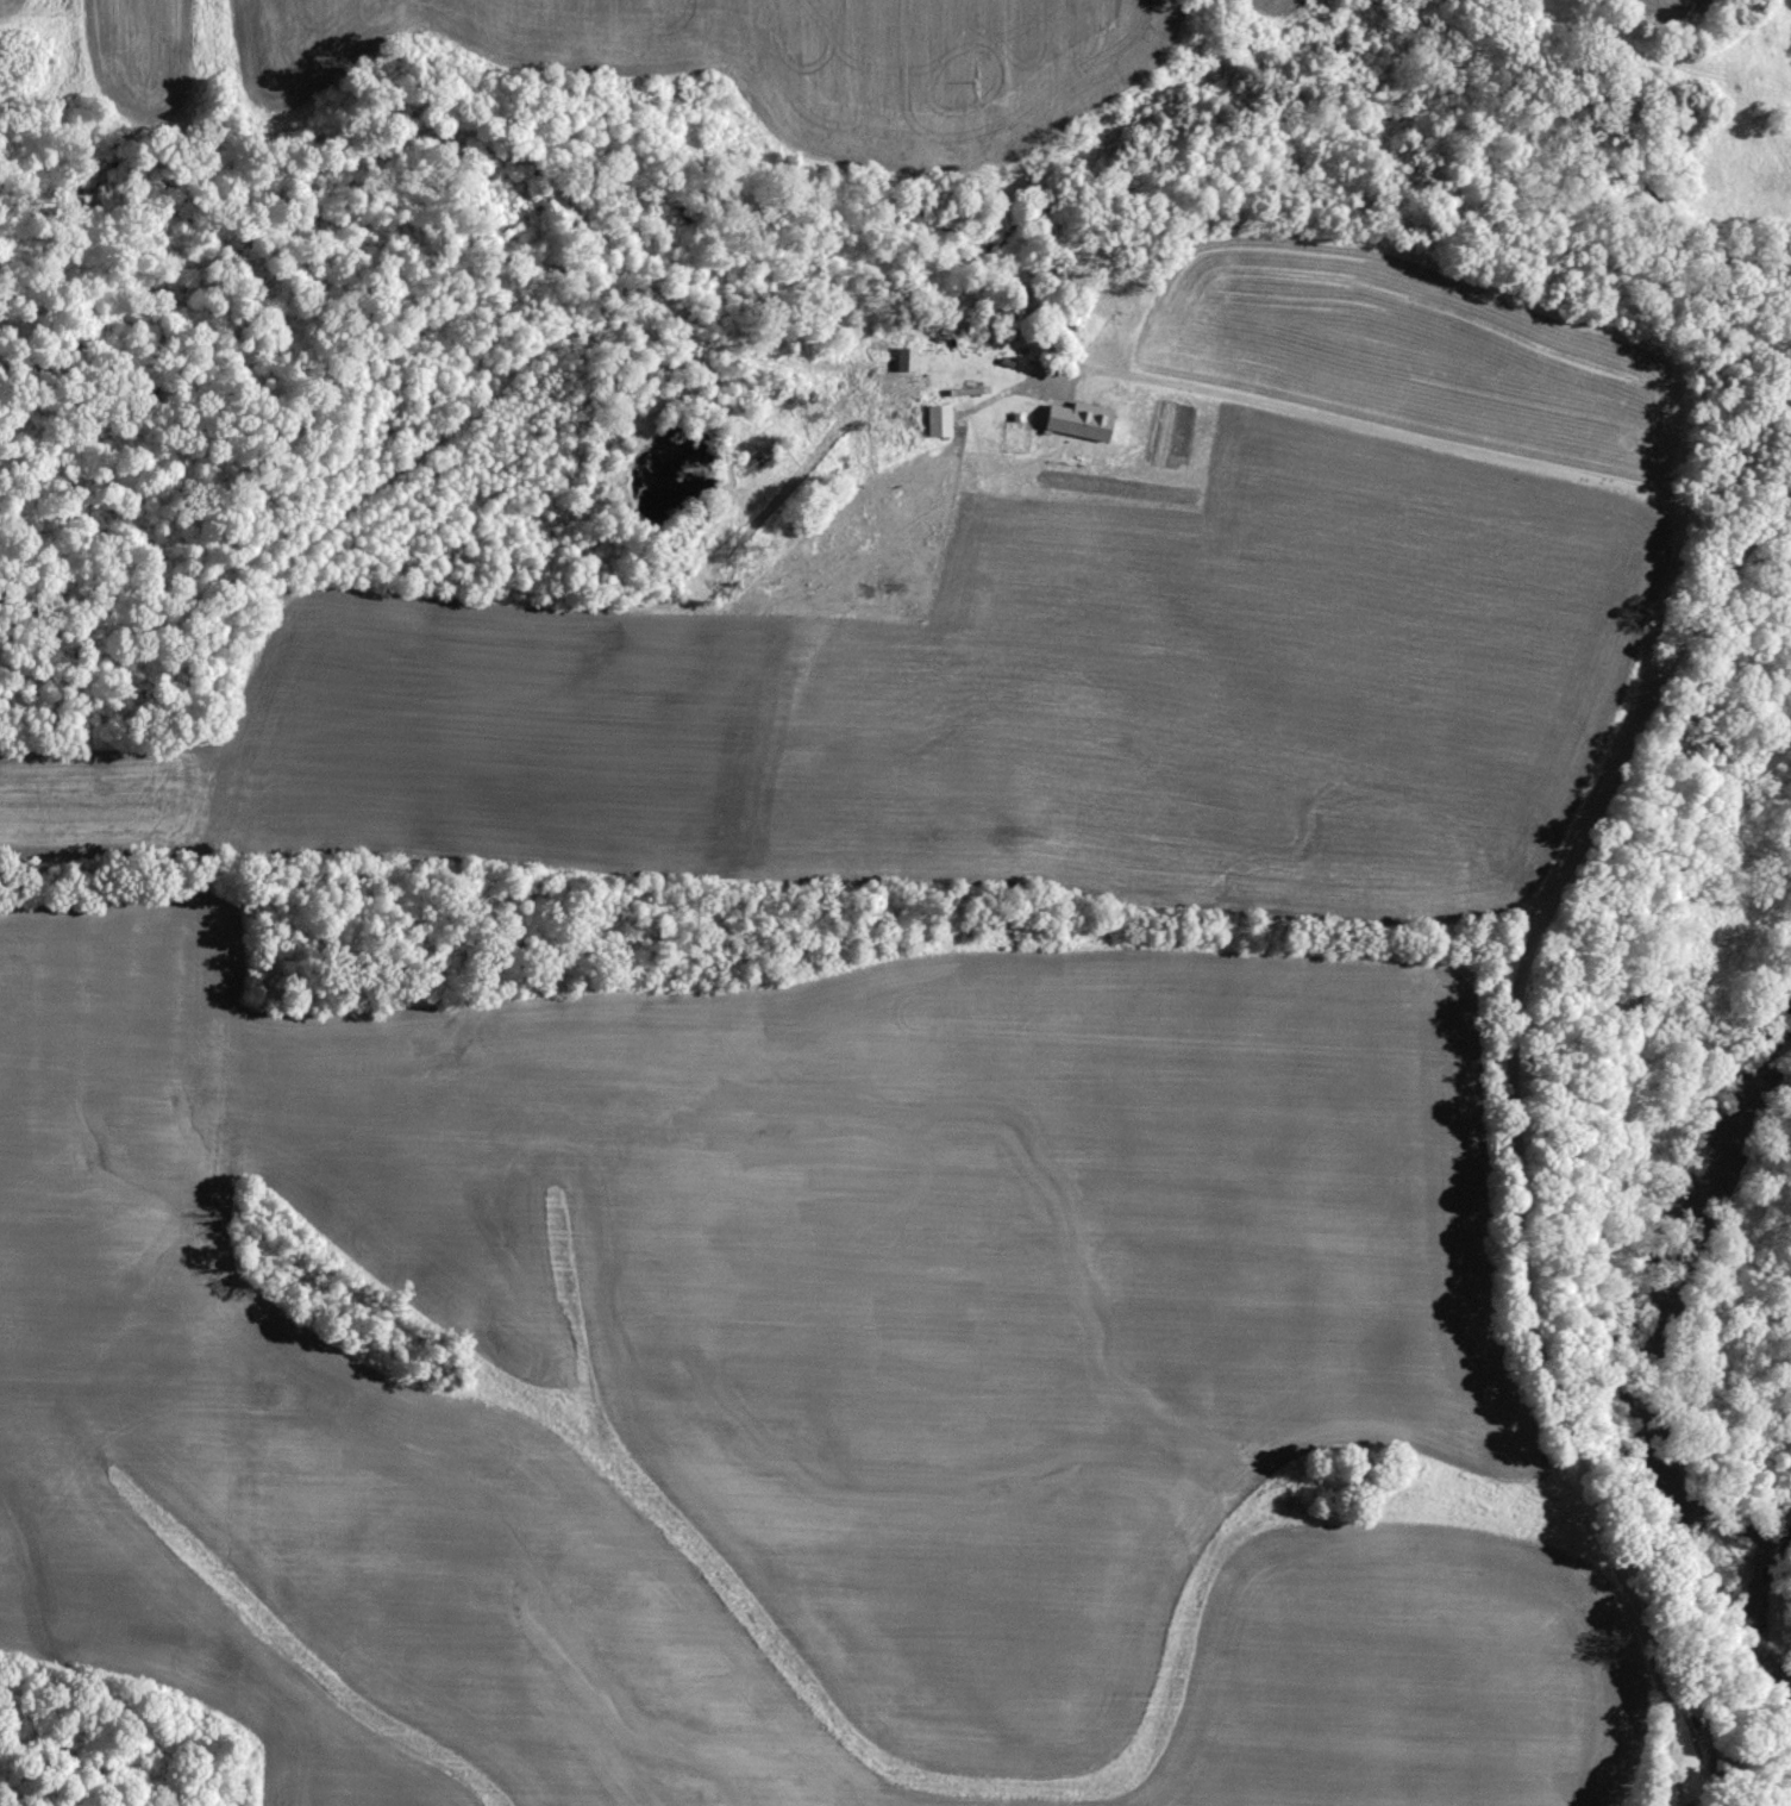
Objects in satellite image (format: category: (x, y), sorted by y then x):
building: (935, 420)
building: (1075, 420)
road: (1452, 454)
road: (1510, 1089)
river: (1777, 1638)

